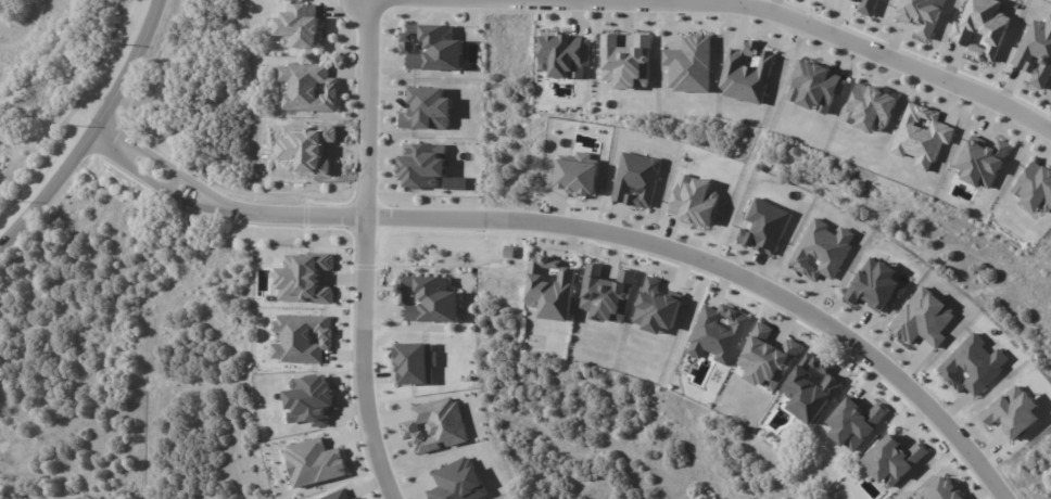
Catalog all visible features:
building: (866, 7)
building: (920, 14)
road: (792, 20)
building: (297, 25)
building: (980, 29)
building: (431, 47)
building: (1036, 52)
building: (564, 54)
building: (625, 61)
building: (689, 64)
building: (746, 72)
building: (307, 87)
building: (815, 87)
building: (869, 107)
building: (426, 108)
road: (371, 111)
road: (98, 135)
building: (921, 136)
building: (982, 162)
building: (421, 165)
building: (574, 174)
building: (635, 180)
building: (1035, 188)
building: (693, 200)
building: (763, 226)
road: (588, 228)
building: (821, 250)
building: (549, 287)
building: (605, 294)
building: (427, 298)
building: (656, 307)
building: (718, 333)
building: (765, 358)
road: (370, 361)
building: (972, 366)
building: (810, 388)
building: (1011, 411)
building: (853, 423)
building: (891, 460)
building: (939, 490)

